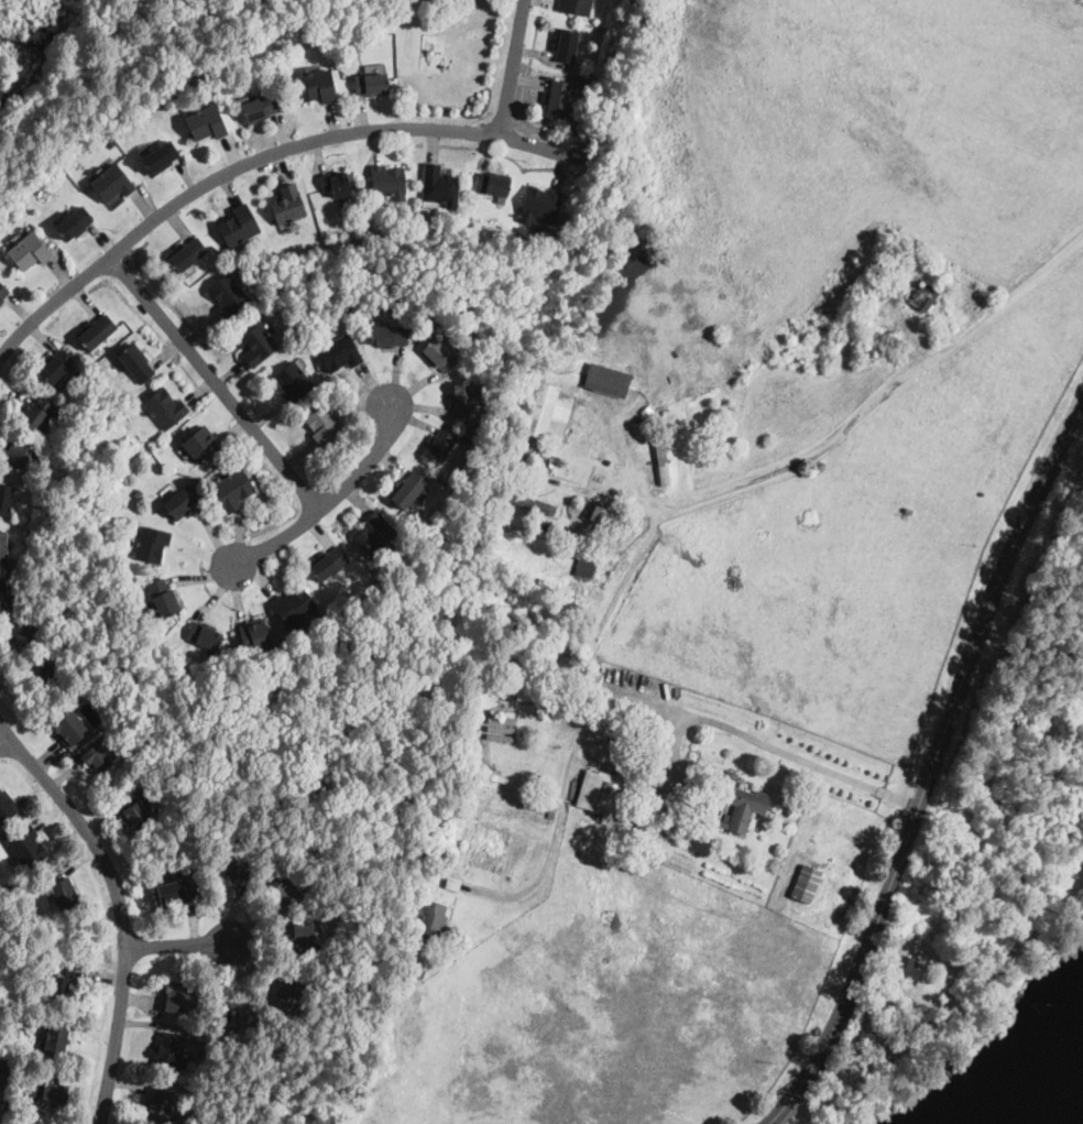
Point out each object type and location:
building: (576, 7)
building: (447, 14)
building: (344, 43)
building: (566, 46)
road: (511, 66)
building: (371, 86)
building: (316, 87)
building: (557, 97)
building: (259, 109)
building: (205, 122)
building: (109, 142)
road: (256, 156)
building: (161, 157)
building: (387, 181)
building: (493, 183)
building: (112, 184)
building: (336, 184)
building: (440, 186)
building: (288, 205)
building: (539, 206)
building: (74, 225)
building: (240, 225)
building: (541, 227)
building: (522, 230)
building: (875, 244)
building: (29, 251)
building: (187, 253)
building: (907, 255)
building: (862, 285)
building: (873, 290)
building: (2, 293)
building: (917, 294)
building: (228, 296)
building: (96, 332)
building: (387, 337)
building: (258, 345)
building: (339, 353)
building: (438, 354)
building: (135, 362)
building: (56, 365)
road: (215, 379)
building: (606, 381)
building: (293, 382)
building: (86, 390)
building: (462, 401)
building: (657, 403)
building: (165, 407)
building: (548, 408)
building: (647, 412)
building: (39, 413)
building: (321, 422)
road: (847, 424)
building: (200, 444)
building: (440, 445)
building: (519, 446)
building: (14, 452)
building: (661, 460)
building: (675, 463)
building: (233, 490)
building: (408, 490)
building: (139, 494)
road: (329, 498)
building: (6, 499)
building: (182, 502)
building: (533, 504)
building: (908, 511)
building: (598, 515)
building: (809, 516)
building: (547, 526)
building: (594, 531)
building: (39, 533)
building: (375, 535)
building: (152, 544)
building: (3, 546)
building: (329, 564)
building: (584, 567)
building: (3, 597)
building: (163, 598)
building: (294, 607)
building: (22, 634)
building: (204, 635)
building: (254, 635)
building: (575, 640)
building: (51, 673)
building: (527, 690)
road: (641, 699)
building: (503, 711)
building: (502, 720)
building: (69, 727)
building: (500, 730)
building: (622, 740)
road: (6, 741)
building: (100, 754)
road: (930, 771)
building: (601, 787)
building: (140, 790)
building: (663, 797)
building: (731, 798)
building: (553, 799)
building: (675, 804)
building: (7, 806)
building: (133, 812)
building: (550, 815)
building: (637, 834)
building: (25, 847)
building: (237, 862)
building: (4, 880)
building: (806, 881)
building: (452, 883)
building: (280, 887)
building: (970, 887)
building: (63, 893)
building: (174, 893)
road: (119, 904)
building: (952, 918)
building: (428, 921)
building: (299, 938)
road: (180, 943)
building: (417, 970)
building: (906, 970)
building: (59, 981)
building: (292, 989)
building: (175, 998)
building: (251, 1014)
road: (945, 1015)
building: (53, 1038)
road: (876, 1039)
building: (205, 1049)
building: (168, 1050)
building: (3, 1078)
building: (46, 1090)
building: (158, 1102)

